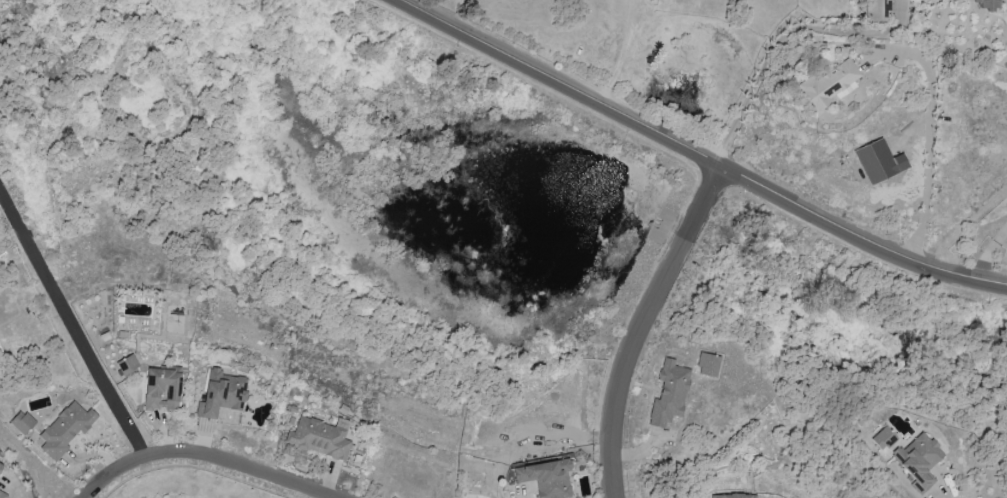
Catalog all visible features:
building: (988, 5)
building: (877, 10)
road: (778, 41)
building: (830, 84)
road: (700, 152)
building: (879, 161)
road: (929, 166)
road: (988, 253)
road: (74, 323)
road: (656, 327)
building: (127, 365)
building: (708, 365)
building: (162, 389)
building: (222, 393)
building: (669, 394)
building: (22, 422)
building: (66, 429)
building: (320, 437)
building: (884, 438)
road: (205, 458)
building: (919, 459)
building: (1, 465)
building: (546, 478)
road: (946, 488)
building: (2, 494)
building: (733, 496)

